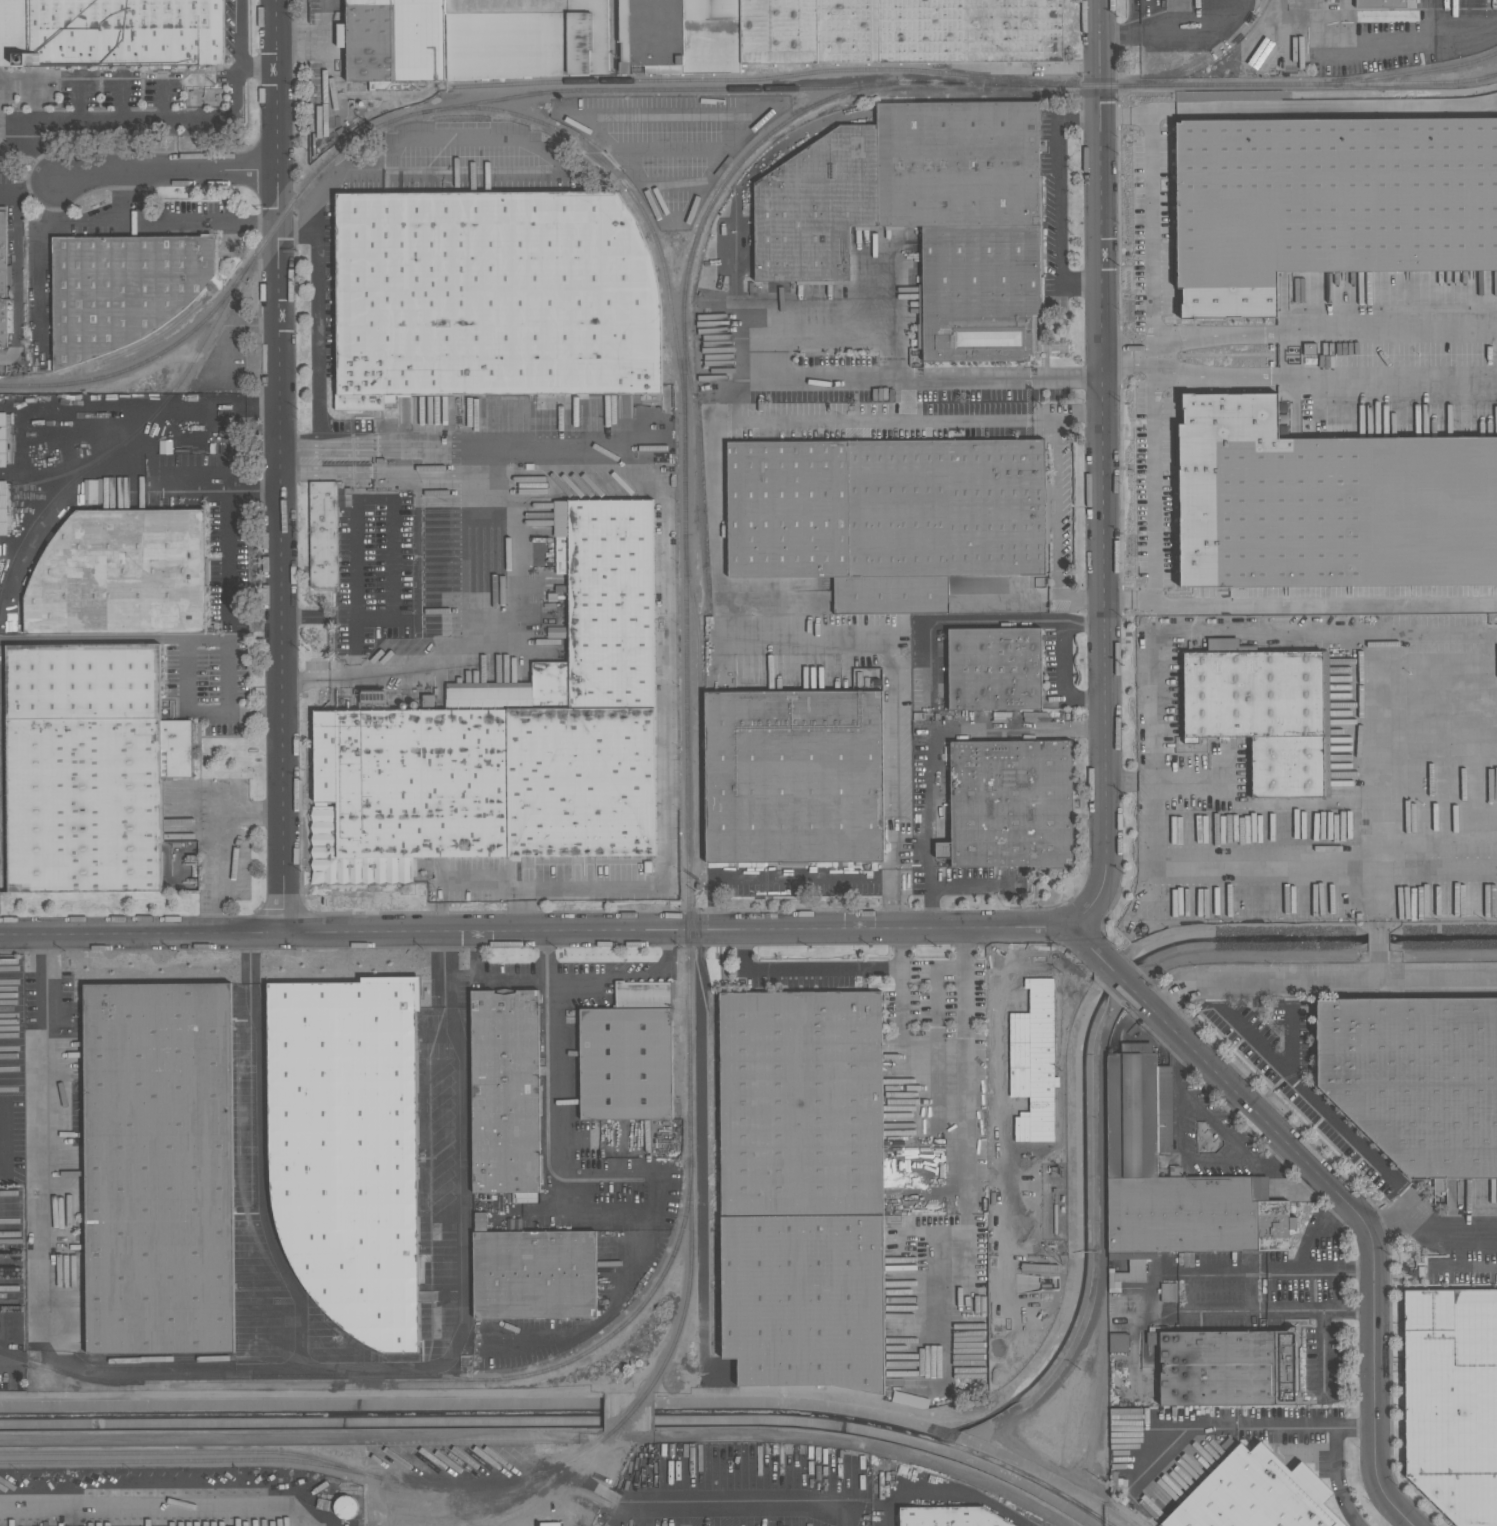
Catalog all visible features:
building: (1380, 3)
road: (314, 29)
building: (900, 31)
building: (111, 32)
building: (623, 34)
road: (240, 35)
building: (525, 38)
building: (707, 39)
building: (396, 42)
railway: (1204, 60)
road: (260, 70)
railway: (1411, 73)
railway: (763, 78)
railway: (658, 89)
railway: (1395, 95)
building: (620, 112)
road: (128, 117)
railway: (528, 117)
building: (1189, 129)
building: (1316, 143)
building: (1418, 145)
building: (1223, 150)
road: (485, 152)
road: (168, 175)
road: (17, 187)
road: (1117, 195)
road: (138, 198)
road: (1058, 201)
building: (922, 216)
road: (162, 220)
road: (1135, 227)
building: (1324, 243)
road: (45, 262)
building: (3, 280)
building: (122, 290)
building: (492, 296)
road: (820, 325)
road: (1296, 334)
road: (318, 347)
railway: (137, 366)
road: (1325, 376)
railway: (684, 385)
building: (665, 397)
road: (1078, 415)
road: (885, 419)
building: (2, 440)
railway: (120, 445)
building: (165, 446)
road: (553, 454)
road: (278, 467)
road: (1103, 470)
road: (1230, 471)
building: (1434, 471)
railway: (63, 475)
road: (1381, 496)
building: (4, 508)
parking lot: (1229, 510)
road: (717, 516)
building: (886, 516)
road: (1212, 520)
road: (1250, 520)
road: (1055, 531)
road: (228, 532)
building: (323, 534)
road: (393, 537)
road: (1300, 568)
building: (121, 574)
road: (465, 579)
road: (956, 623)
road: (1084, 623)
road: (217, 639)
building: (994, 668)
road: (1064, 680)
railway: (701, 696)
building: (1264, 712)
road: (1154, 720)
road: (938, 729)
building: (512, 734)
building: (1449, 744)
building: (889, 764)
building: (91, 769)
building: (794, 776)
building: (1010, 803)
road: (1375, 808)
road: (214, 842)
road: (774, 876)
road: (954, 887)
road: (889, 903)
road: (534, 932)
road: (1375, 947)
road: (900, 949)
road: (625, 975)
road: (489, 979)
road: (1344, 980)
road: (1173, 996)
road: (900, 1004)
road: (999, 1004)
road: (1291, 1038)
railway: (716, 1050)
building: (628, 1054)
road: (1178, 1059)
building: (1033, 1062)
building: (1415, 1079)
building: (505, 1092)
road: (1311, 1096)
road: (1214, 1126)
building: (348, 1149)
road: (1184, 1157)
road: (1280, 1161)
building: (159, 1168)
building: (1171, 1180)
road: (1331, 1185)
building: (802, 1188)
road: (552, 1193)
railway: (244, 1199)
road: (1327, 1221)
road: (1396, 1223)
road: (455, 1233)
road: (1450, 1234)
railway: (285, 1262)
road: (1327, 1266)
building: (534, 1274)
building: (1168, 1292)
road: (614, 1305)
road: (1264, 1310)
railway: (635, 1316)
building: (1118, 1342)
building: (1150, 1354)
railway: (236, 1359)
road: (29, 1361)
building: (1227, 1366)
road: (170, 1370)
railway: (239, 1381)
building: (1451, 1400)
railway: (633, 1413)
railway: (628, 1421)
road: (542, 1437)
railway: (188, 1453)
road: (1334, 1460)
railway: (187, 1461)
road: (762, 1463)
railway: (595, 1478)
railway: (499, 1487)
building: (324, 1490)
railway: (541, 1494)
road: (951, 1494)
building: (1255, 1494)
building: (345, 1506)
road: (151, 1509)
building: (950, 1515)
railway: (481, 1525)

